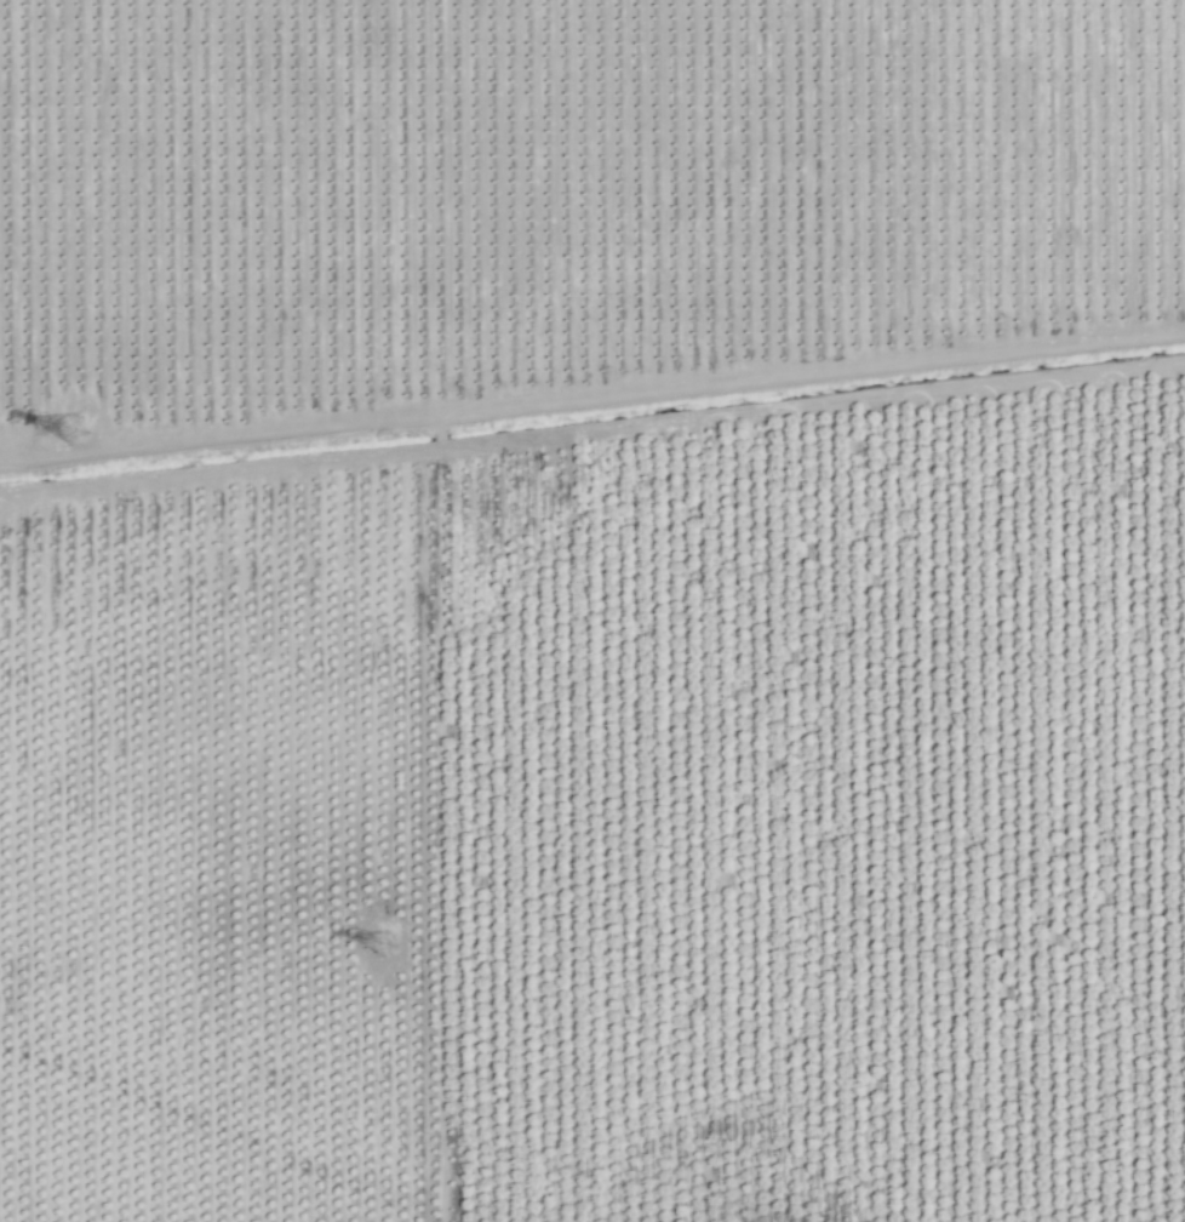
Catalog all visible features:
power tower: (119, 509)
crop: (592, 611)
power tower: (379, 943)

